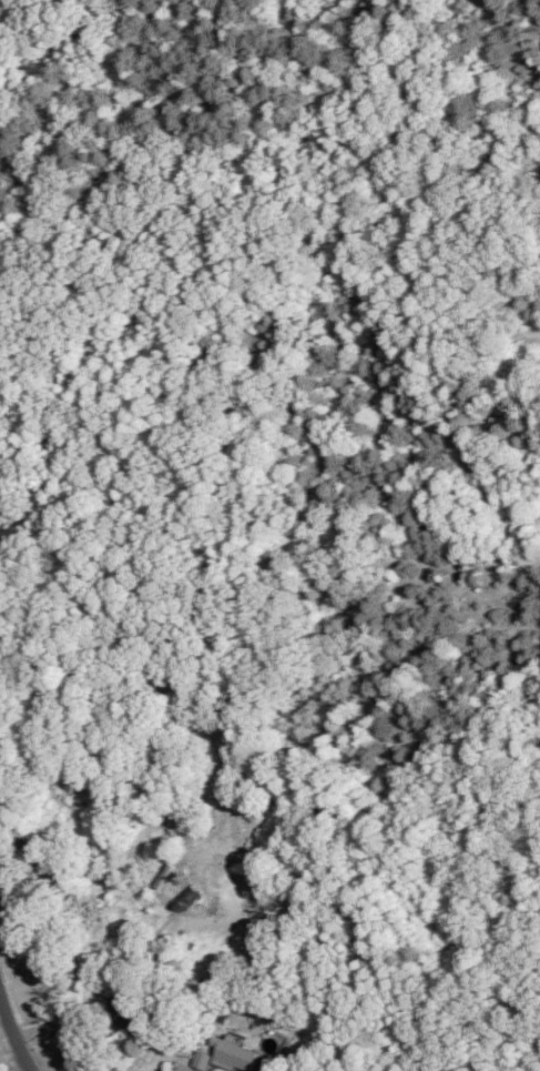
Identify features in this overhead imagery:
building: (186, 896)
building: (121, 1009)
road: (12, 1037)
building: (233, 1054)
building: (201, 1059)
road: (197, 1065)

